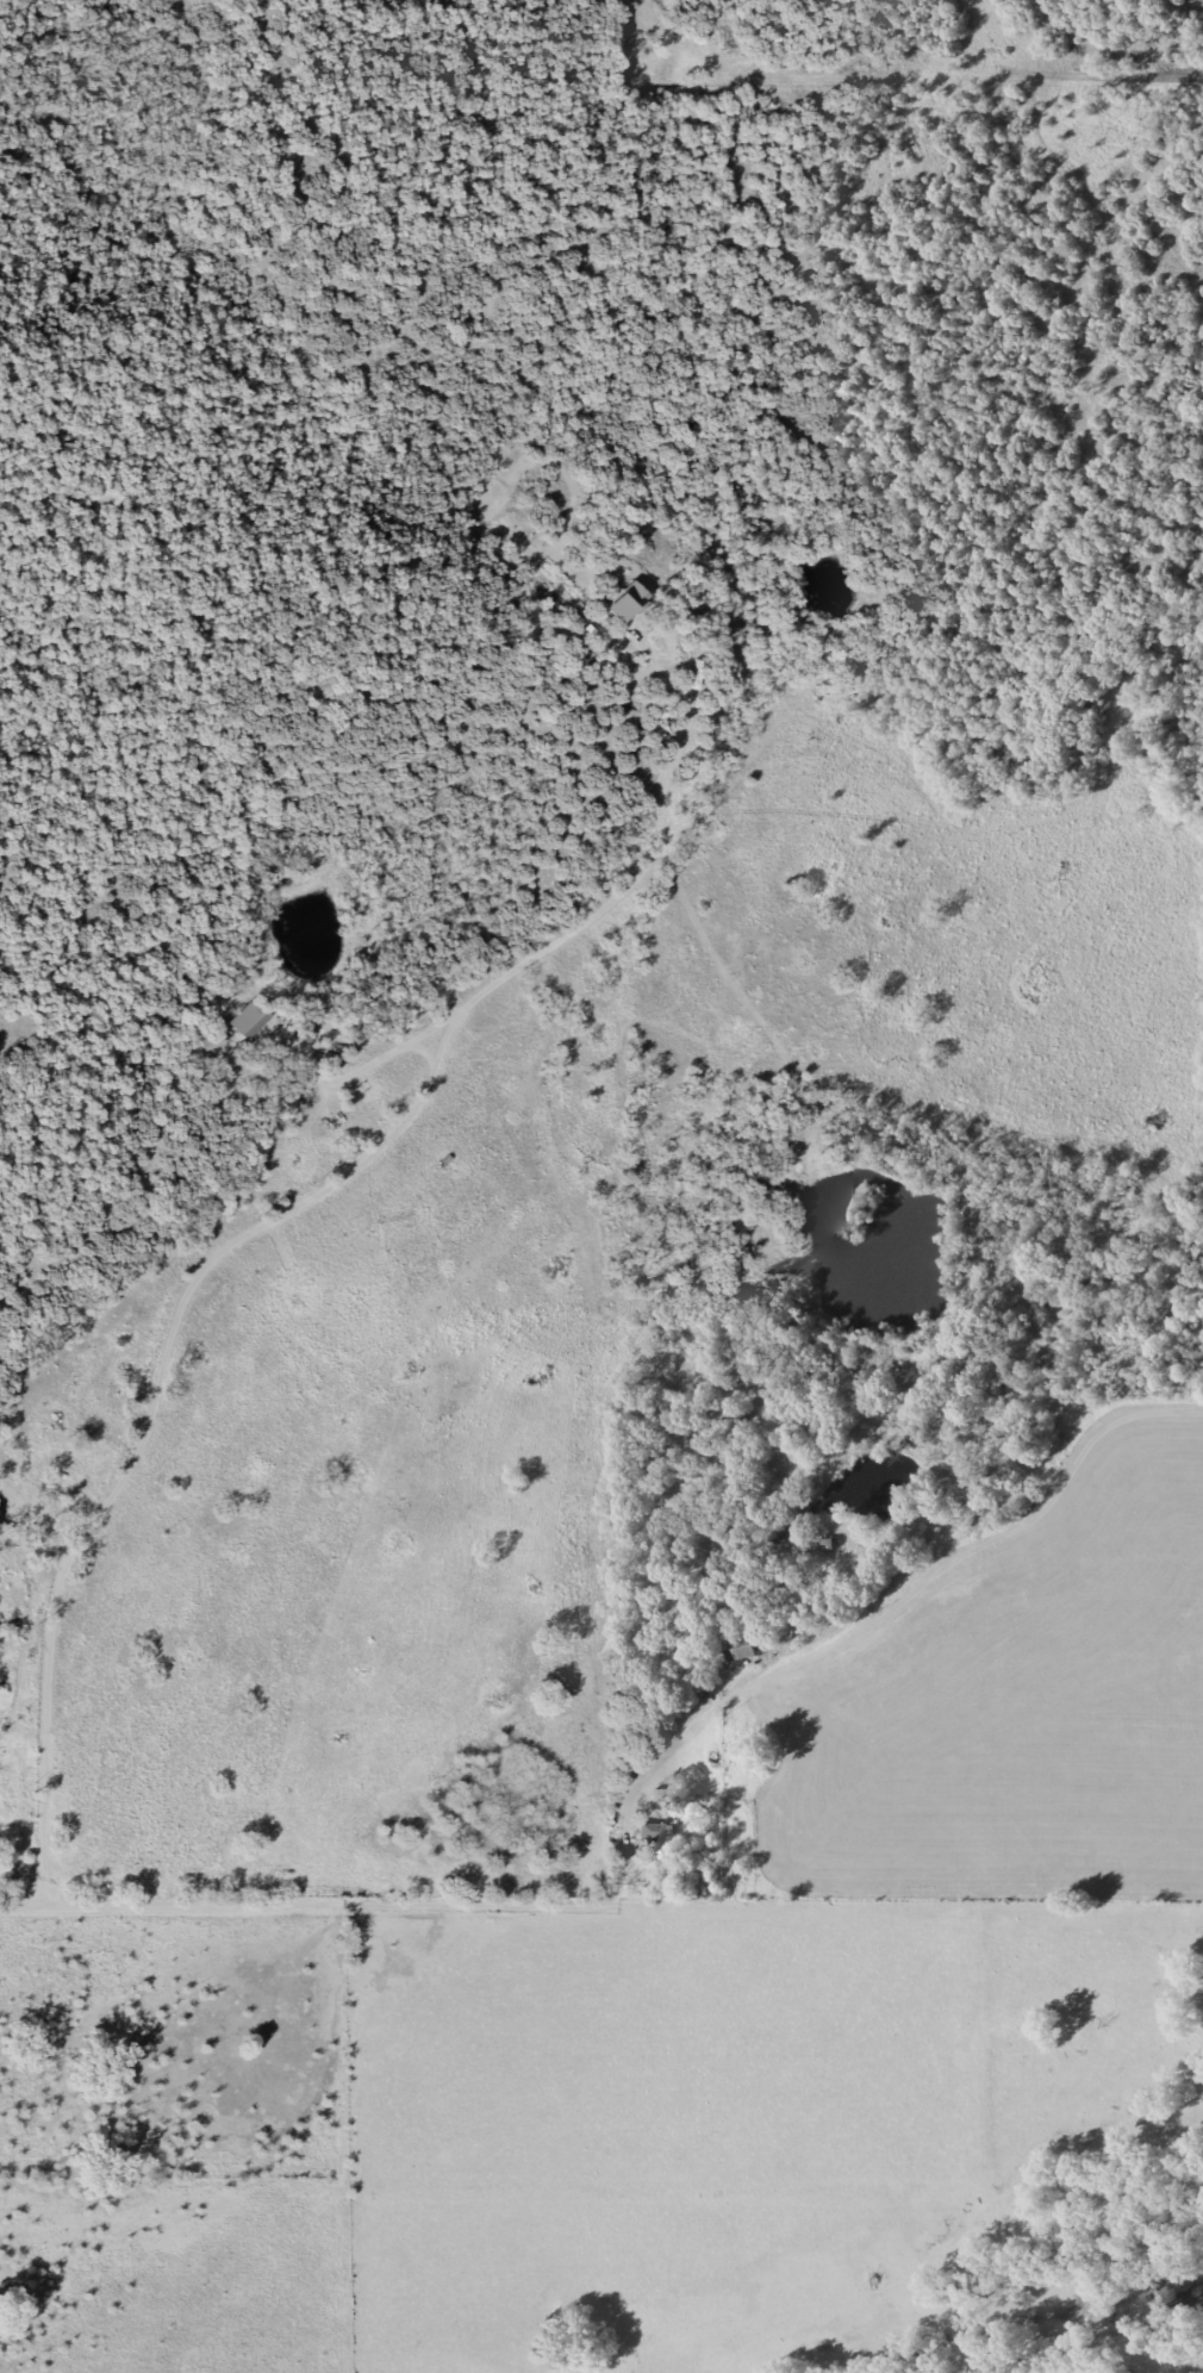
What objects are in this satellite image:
building: (622, 600)
building: (244, 1019)
building: (207, 1041)
building: (7, 1628)
building: (737, 1648)
road: (43, 1738)
building: (654, 1839)
building: (674, 1877)
road: (586, 1905)

